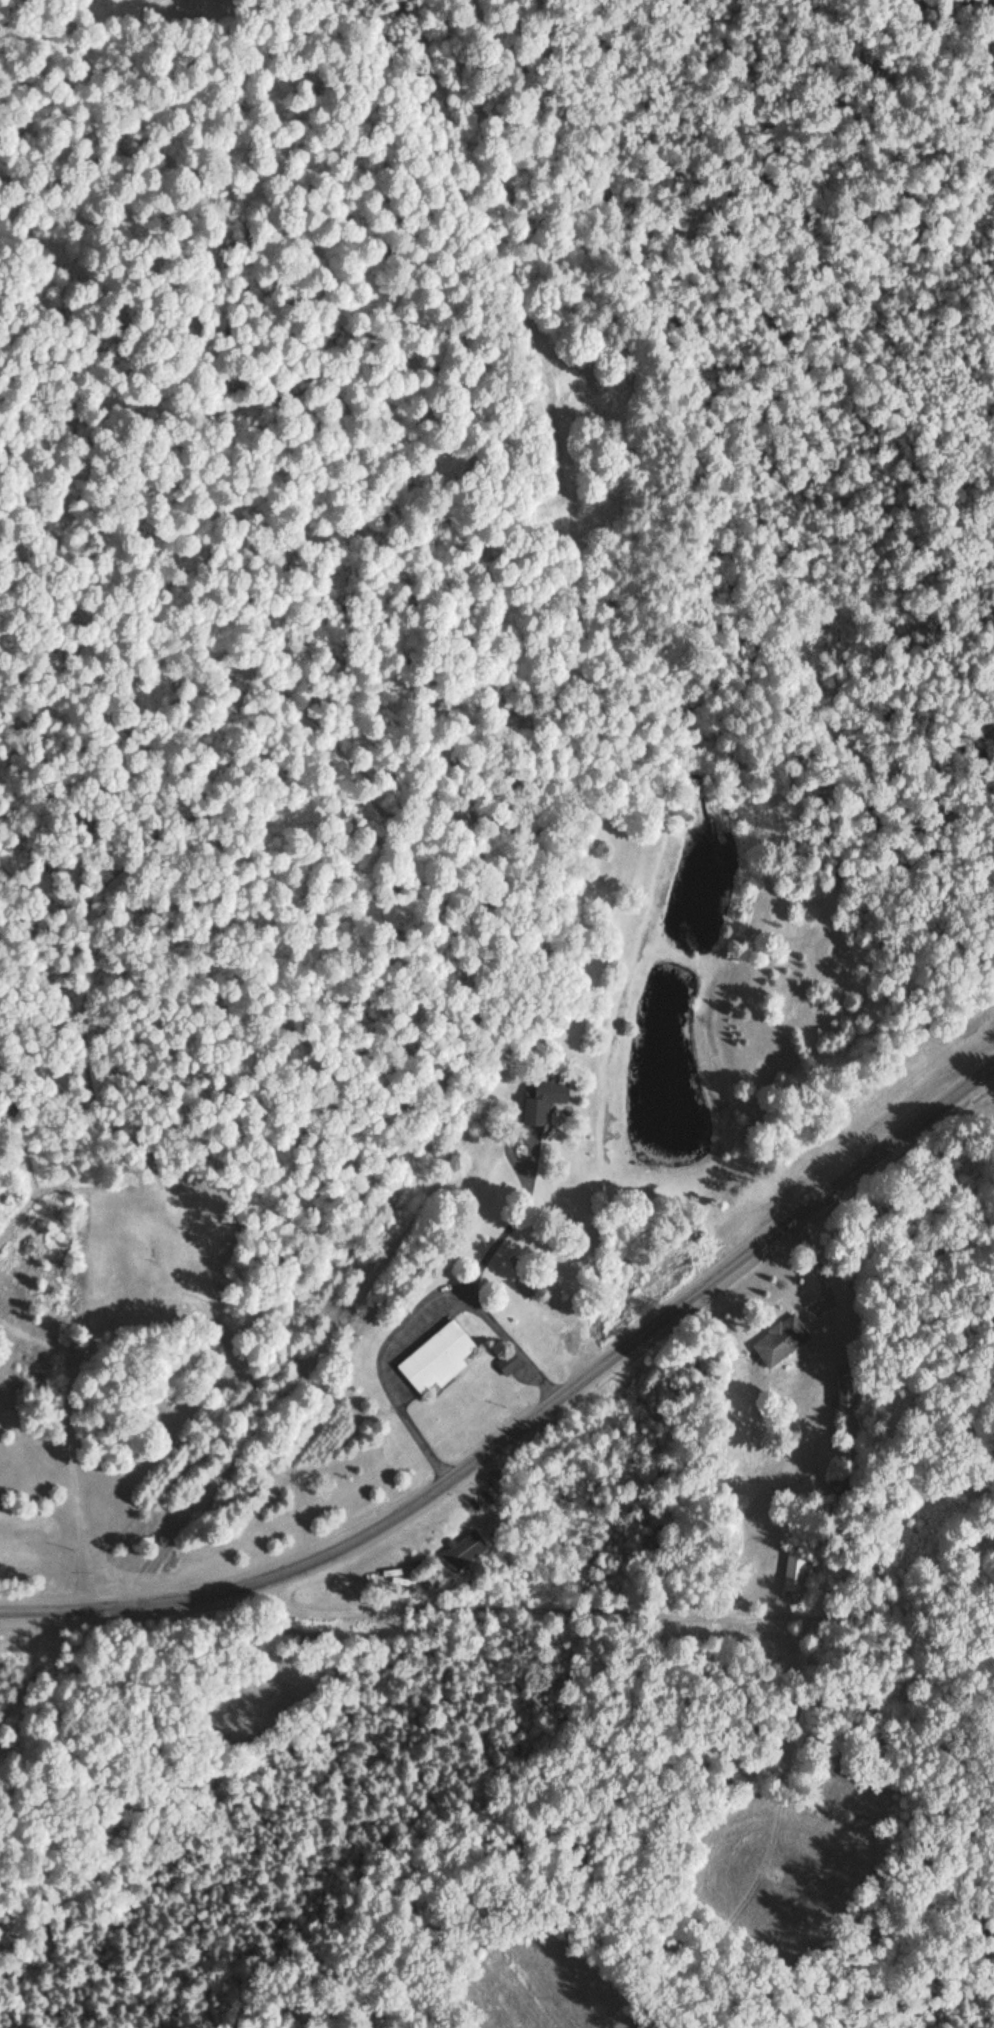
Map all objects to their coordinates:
building: (537, 1100)
road: (510, 1225)
road: (826, 1269)
building: (779, 1338)
road: (514, 1344)
building: (434, 1355)
building: (504, 1362)
road: (384, 1370)
road: (528, 1373)
building: (845, 1389)
road: (811, 1414)
road: (530, 1417)
road: (474, 1482)
building: (459, 1547)
building: (794, 1569)
road: (533, 1608)
road: (907, 1616)

